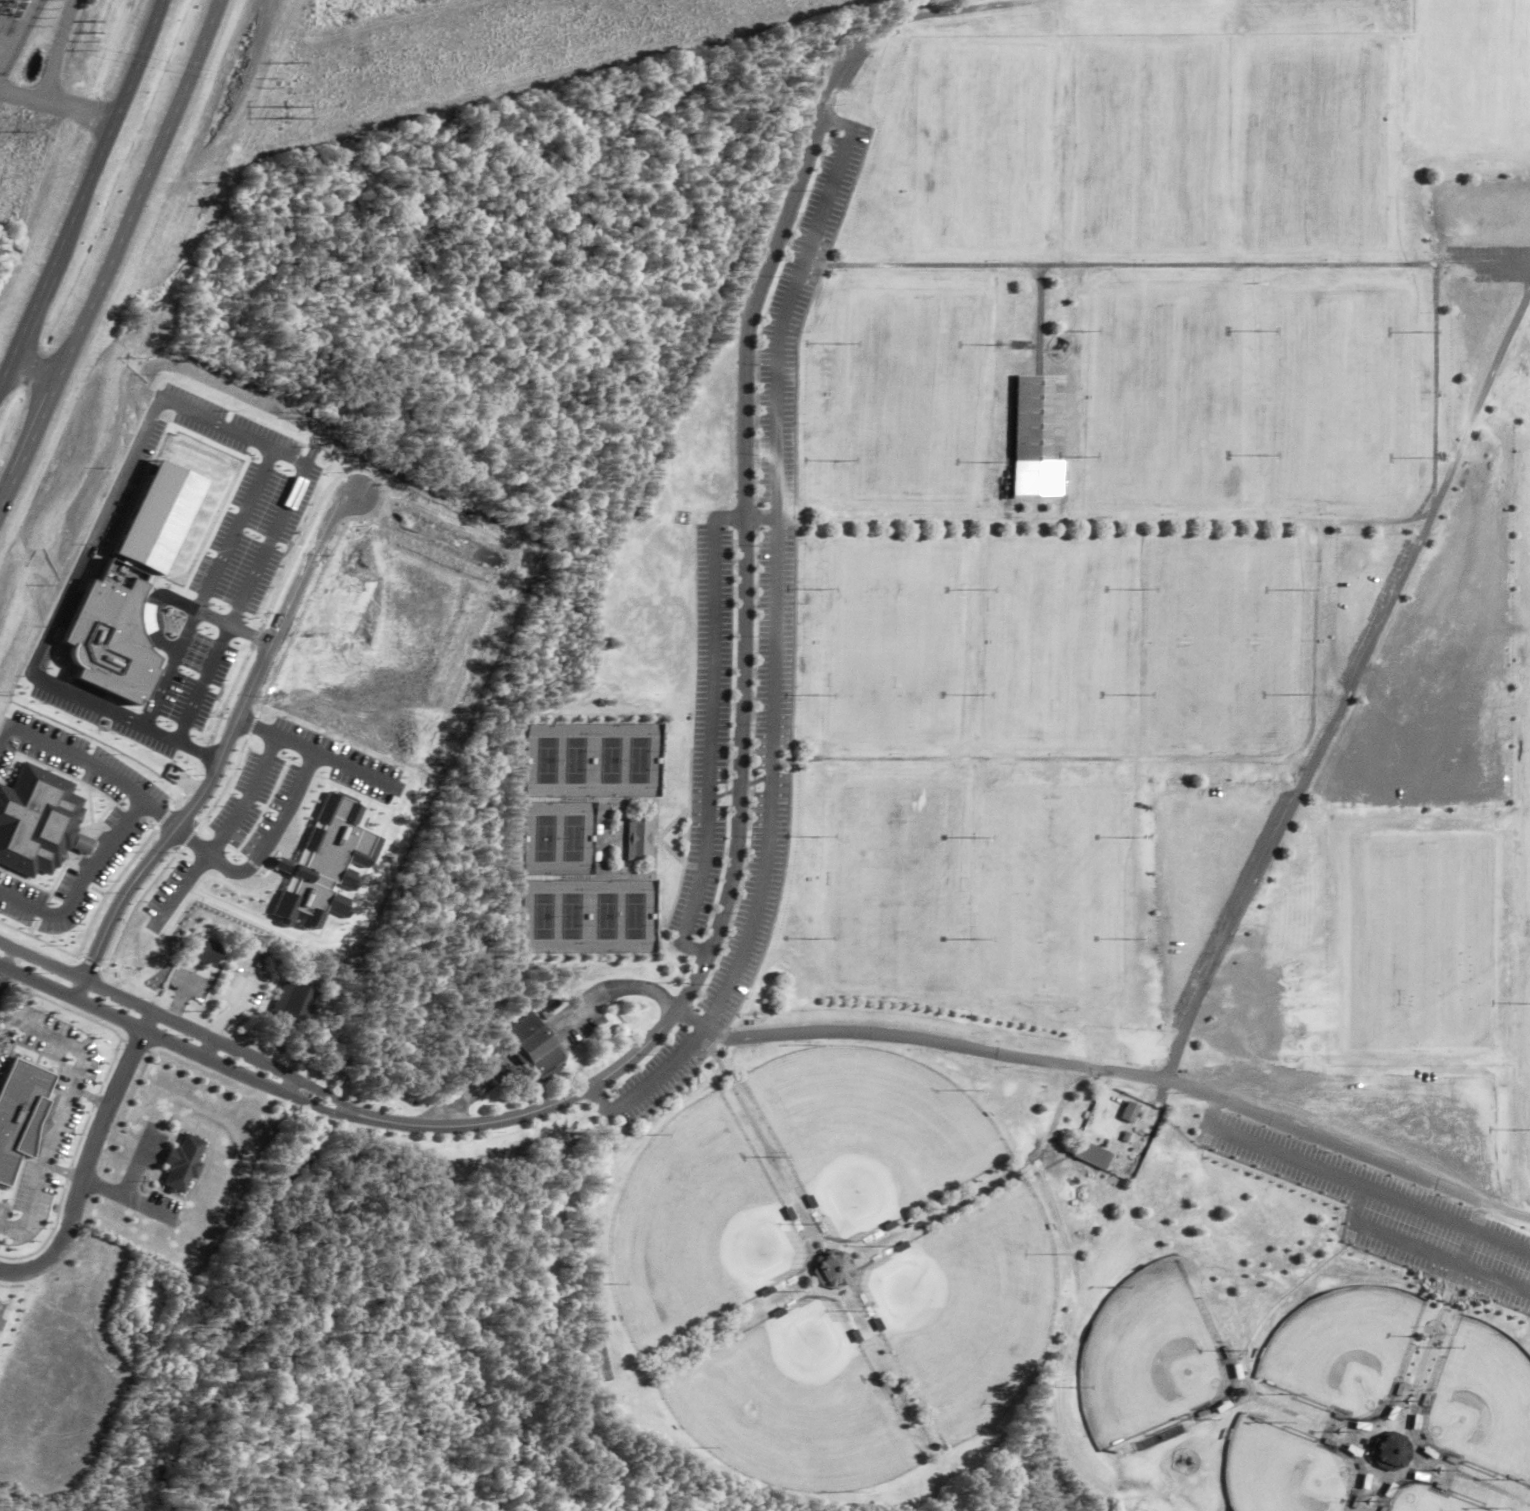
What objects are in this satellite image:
road: (949, 13)
park: (1476, 15)
power substation: (13, 26)
park: (1102, 92)
park: (1173, 92)
park: (1283, 92)
park: (1354, 92)
park: (1475, 103)
power tower: (287, 112)
road: (115, 118)
park: (978, 146)
road: (141, 189)
park: (1102, 199)
park: (1172, 199)
park: (1281, 201)
park: (1354, 203)
road: (38, 295)
park: (1123, 349)
park: (1194, 349)
park: (1346, 355)
road: (35, 366)
road: (5, 367)
park: (912, 402)
parking lot: (788, 436)
building: (1036, 436)
road: (29, 442)
park: (1346, 452)
park: (1159, 455)
park: (897, 589)
park: (1057, 590)
park: (1218, 643)
road: (776, 644)
road: (205, 683)
road: (1350, 684)
road: (746, 690)
park: (895, 695)
park: (1056, 696)
road: (714, 717)
parking lot: (712, 731)
road: (223, 757)
park: (612, 760)
park: (641, 760)
park: (548, 761)
park: (577, 761)
road: (285, 818)
park: (1064, 824)
building: (40, 826)
park: (976, 826)
park: (903, 830)
building: (644, 838)
park: (549, 839)
park: (577, 839)
road: (93, 868)
parking lot: (761, 902)
park: (642, 916)
park: (549, 917)
park: (577, 917)
park: (613, 917)
park: (1423, 940)
park: (902, 951)
building: (202, 952)
park: (1074, 953)
road: (2, 969)
road: (626, 987)
building: (293, 1003)
road: (193, 1029)
road: (922, 1040)
building: (536, 1044)
road: (189, 1053)
parking lot: (661, 1076)
road: (457, 1102)
building: (1130, 1112)
park: (871, 1133)
road: (1326, 1134)
building: (1091, 1156)
road: (89, 1159)
road: (127, 1192)
road: (1506, 1207)
park: (696, 1229)
building: (833, 1271)
park: (969, 1310)
park: (1341, 1349)
park: (1146, 1355)
park: (1481, 1403)
park: (793, 1407)
building: (1389, 1451)
park: (1280, 1471)
park: (1421, 1500)

